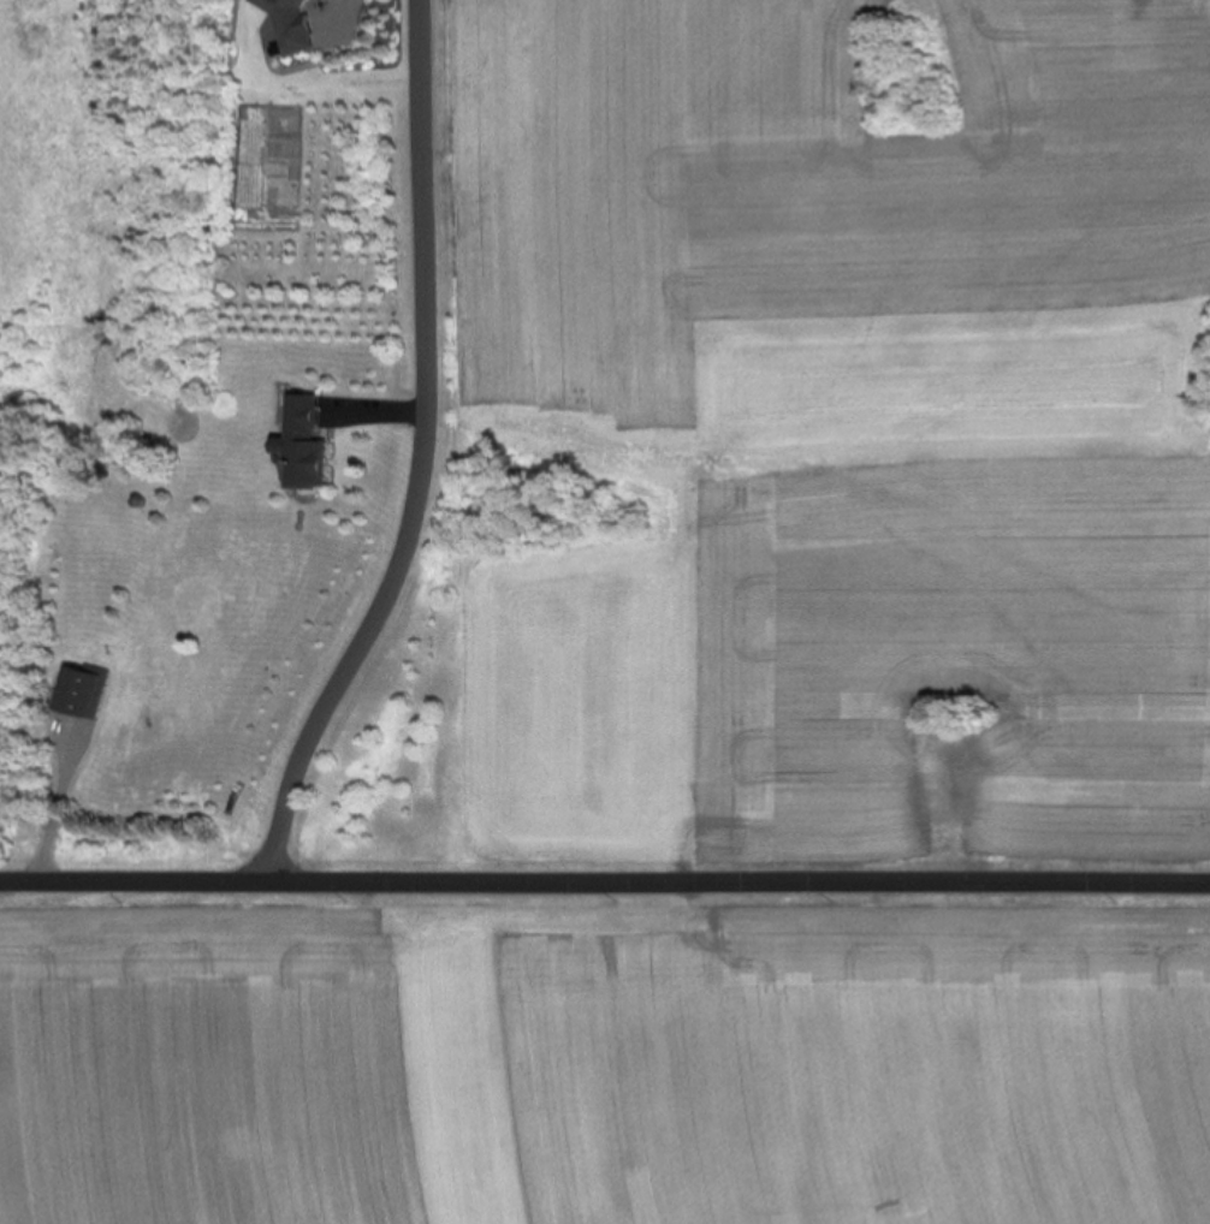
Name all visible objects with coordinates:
road: (342, 16)
building: (296, 23)
building: (309, 444)
road: (427, 457)
building: (83, 691)
road: (55, 814)
road: (604, 883)

